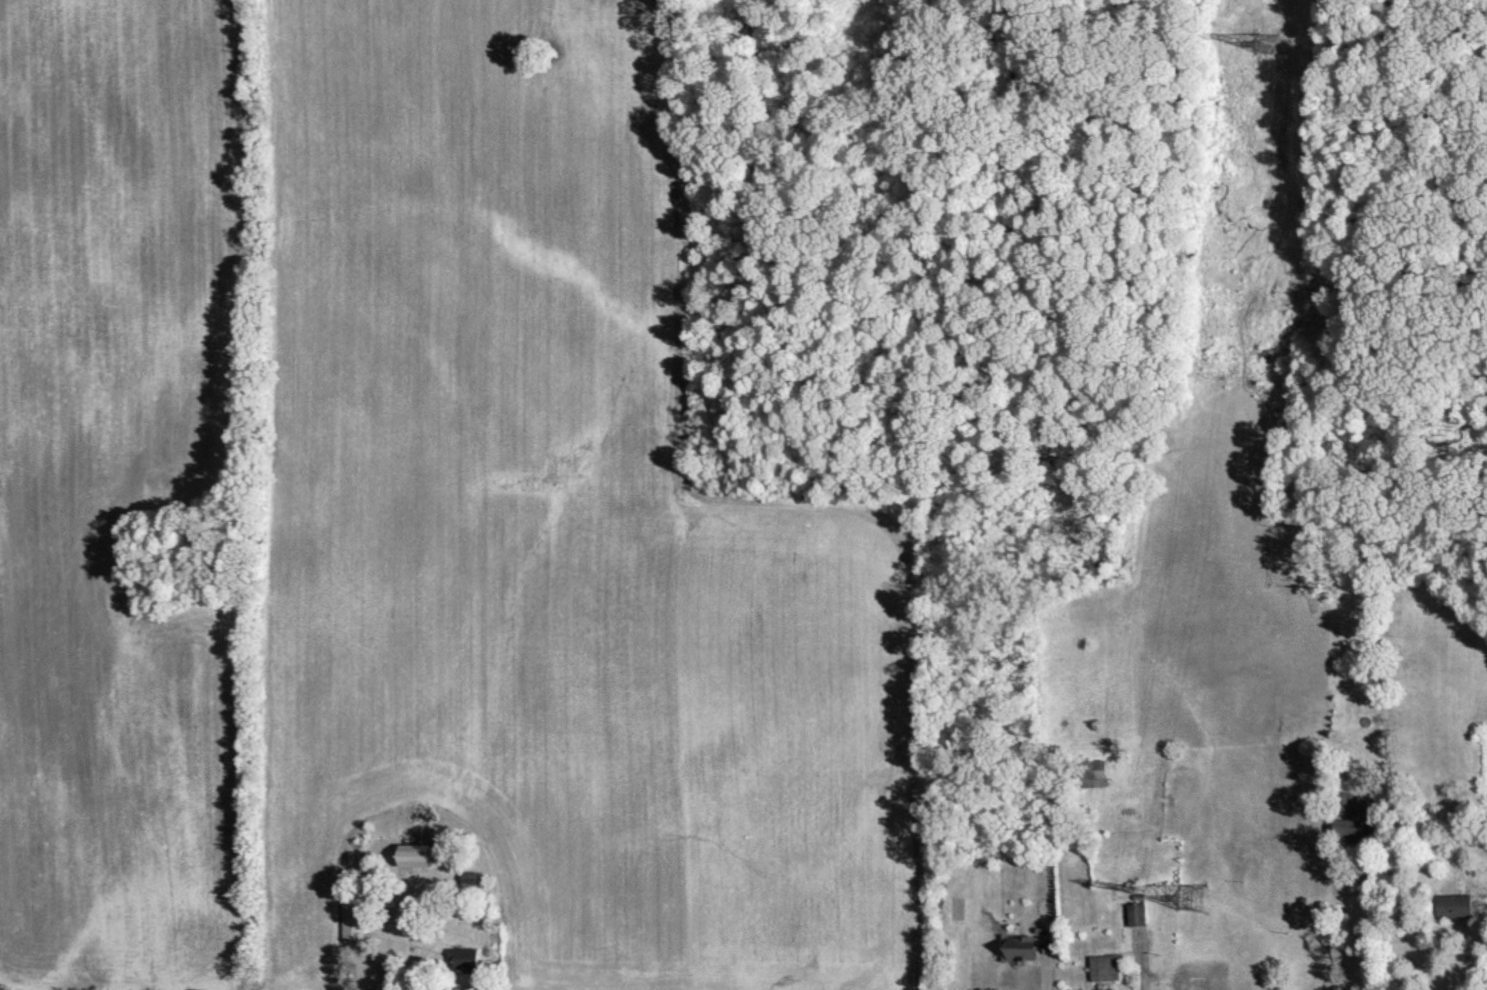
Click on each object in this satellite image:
power tower: (1271, 41)
building: (1091, 773)
building: (1345, 829)
building: (416, 855)
road: (430, 892)
power tower: (1193, 896)
building: (386, 898)
building: (1454, 906)
road: (1374, 910)
building: (1135, 914)
building: (387, 917)
building: (354, 920)
building: (1017, 948)
building: (466, 959)
building: (1103, 967)
road: (415, 978)

